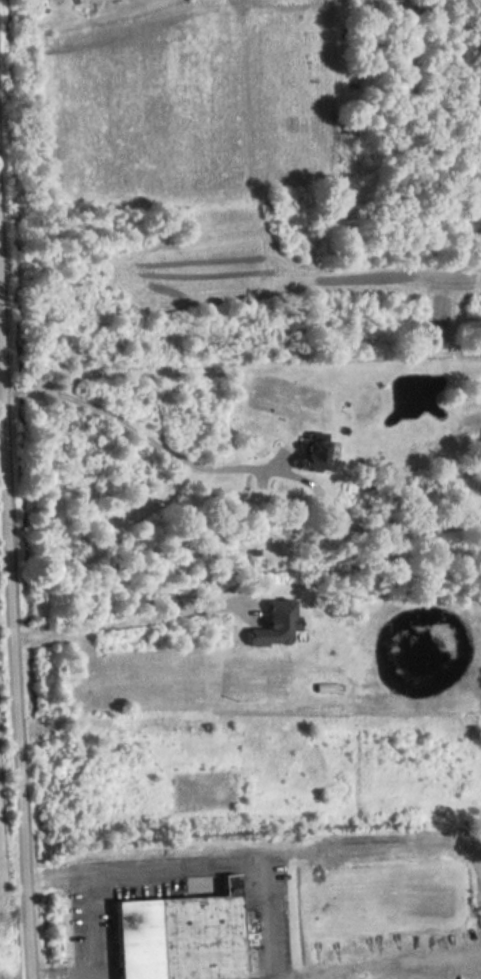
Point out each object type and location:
building: (314, 453)
road: (215, 470)
building: (276, 625)
road: (127, 626)
road: (12, 661)
road: (193, 866)
building: (182, 936)
road: (89, 950)

